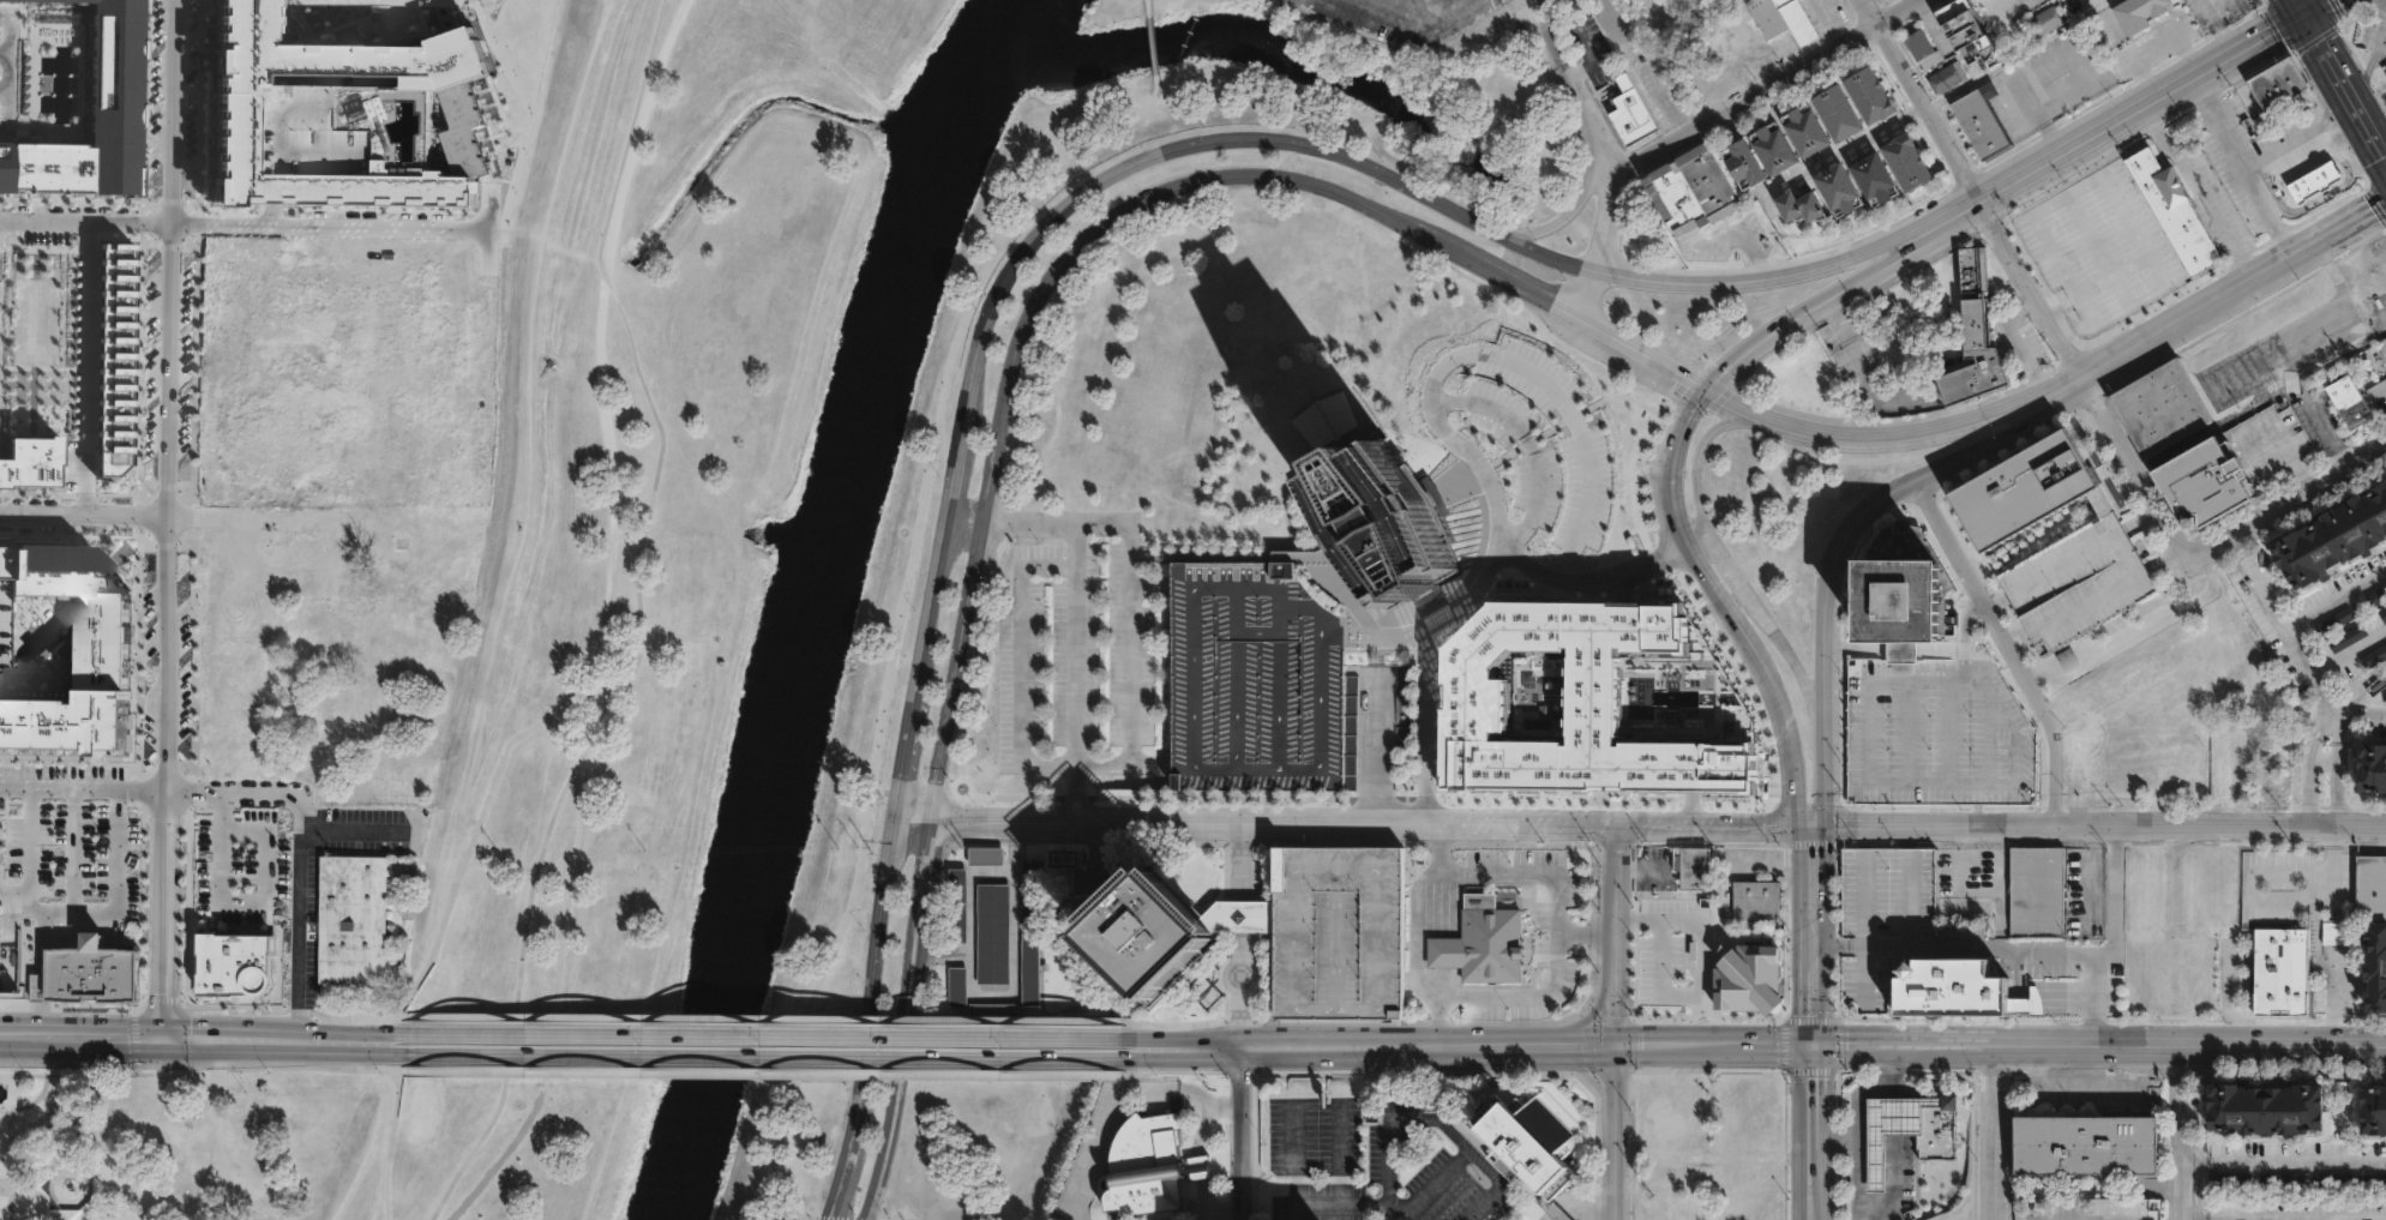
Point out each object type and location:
road: (1374, 1)
road: (2083, 1)
road: (1535, 5)
road: (2297, 7)
road: (2314, 7)
road: (1149, 10)
road: (1867, 11)
building: (2140, 12)
traffic signals: (2302, 14)
parking lot: (1398, 17)
road: (1412, 17)
road: (2296, 17)
building: (1785, 19)
building: (2047, 22)
road: (2222, 25)
building: (1969, 29)
road: (655, 42)
road: (1153, 46)
road: (2153, 46)
building: (1924, 48)
road: (1, 49)
road: (1588, 54)
road: (2, 70)
building: (1949, 77)
building: (2276, 82)
road: (1761, 84)
road: (2343, 89)
building: (1869, 94)
building: (1837, 112)
building: (1634, 113)
road: (2330, 113)
building: (91, 115)
building: (347, 118)
road: (2039, 120)
road: (2106, 124)
building: (1981, 125)
building: (1805, 130)
road: (2342, 132)
road: (1242, 143)
building: (1773, 149)
road: (1604, 150)
road: (2280, 152)
building: (1907, 161)
building: (1743, 163)
road: (2238, 166)
building: (1873, 176)
building: (2313, 181)
building: (1835, 187)
building: (1693, 188)
road: (2196, 188)
road: (2112, 192)
road: (1978, 197)
road: (2318, 198)
road: (2374, 203)
building: (1798, 205)
traffic signals: (2372, 208)
building: (2105, 214)
building: (2175, 214)
road: (1561, 215)
road: (86, 221)
road: (326, 230)
road: (2315, 239)
road: (2362, 240)
building: (2068, 247)
road: (2360, 266)
road: (1526, 290)
road: (2059, 294)
road: (1814, 306)
road: (2048, 308)
road: (2343, 308)
road: (1028, 311)
road: (2382, 317)
road: (2152, 332)
building: (1978, 336)
road: (2013, 341)
building: (2380, 349)
road: (1641, 351)
road: (1497, 353)
road: (2262, 359)
road: (85, 371)
building: (2379, 391)
building: (2346, 401)
road: (2260, 402)
building: (2159, 407)
road: (1678, 426)
road: (1882, 434)
road: (1528, 449)
road: (2290, 459)
park: (770, 461)
building: (2202, 483)
road: (1901, 488)
building: (2027, 489)
road: (1670, 511)
building: (1380, 516)
road: (2140, 517)
road: (169, 519)
road: (84, 521)
road: (958, 521)
road: (1029, 521)
building: (2338, 539)
road: (2194, 554)
road: (2164, 557)
road: (1727, 564)
road: (1604, 579)
road: (1705, 581)
building: (2077, 582)
parking garage: (2077, 582)
river: (825, 600)
building: (1897, 600)
road: (2334, 600)
road: (1997, 601)
road: (902, 603)
building: (2384, 614)
building: (0, 615)
parking garage: (0, 615)
road: (642, 618)
road: (1964, 619)
road: (2162, 619)
building: (2334, 620)
helipad: (1900, 626)
road: (2017, 636)
road: (2289, 637)
building: (2348, 637)
road: (1082, 642)
road: (1131, 644)
road: (2008, 647)
road: (1856, 649)
road: (1899, 650)
road: (2348, 650)
building: (101, 656)
building: (2373, 656)
parking lot: (1074, 657)
road: (2067, 659)
building: (2067, 660)
road: (1020, 663)
road: (2043, 672)
road: (1429, 673)
building: (1254, 677)
parking garage: (1254, 677)
building: (1595, 701)
building: (1402, 708)
road: (1777, 715)
road: (2357, 716)
building: (1936, 728)
parking garage: (1936, 728)
road: (1371, 731)
building: (1404, 737)
road: (1826, 738)
road: (2315, 738)
road: (2336, 740)
road: (902, 758)
road: (582, 761)
road: (1152, 765)
road: (2325, 765)
building: (2374, 767)
road: (1947, 780)
road: (83, 788)
road: (233, 791)
road: (883, 791)
road: (1082, 792)
road: (2310, 795)
road: (2338, 797)
traffic signals: (894, 819)
traffic signals: (931, 819)
road: (1354, 822)
traffic signals: (1816, 827)
road: (2100, 827)
road: (351, 830)
road: (473, 835)
road: (1338, 835)
road: (1863, 836)
road: (1904, 837)
park: (1, 839)
road: (26, 840)
parking lot: (68, 843)
road: (72, 849)
road: (1009, 853)
building: (985, 855)
building: (1060, 858)
road: (1240, 861)
building: (1696, 869)
parking lot: (240, 870)
road: (1521, 872)
road: (1997, 875)
road: (2092, 875)
road: (1960, 877)
building: (2369, 888)
building: (2036, 890)
road: (968, 893)
road: (2268, 899)
building: (1759, 900)
road: (247, 902)
building: (956, 903)
road: (298, 911)
road: (108, 912)
road: (1242, 918)
building: (350, 920)
building: (1882, 920)
parking garage: (1882, 920)
building: (2338, 932)
building: (991, 933)
building: (1029, 933)
building: (1338, 933)
parking garage: (1338, 933)
road: (1817, 934)
building: (1158, 937)
building: (1480, 940)
road: (1699, 943)
road: (2114, 945)
road: (940, 949)
road: (2031, 954)
building: (235, 964)
building: (2374, 967)
building: (2279, 970)
building: (88, 974)
building: (1691, 974)
road: (1012, 975)
road: (1658, 979)
building: (955, 986)
building: (1949, 988)
road: (1242, 991)
road: (1452, 991)
road: (2332, 1000)
building: (2026, 1004)
road: (1595, 1008)
building: (991, 1010)
road: (354, 1018)
road: (770, 1018)
road: (866, 1021)
road: (903, 1021)
road: (1617, 1021)
road: (1188, 1024)
road: (282, 1029)
road: (80, 1035)
road: (770, 1035)
traffic signals: (162, 1040)
road: (1188, 1042)
road: (1718, 1044)
traffic signals: (1819, 1044)
road: (1905, 1044)
road: (1429, 1045)
traffic signals: (1618, 1045)
road: (2188, 1045)
road: (283, 1053)
road: (1188, 1053)
road: (770, 1057)
road: (308, 1060)
road: (374, 1069)
road: (172, 1070)
road: (1892, 1070)
road: (1185, 1071)
road: (770, 1074)
road: (2081, 1089)
road: (31, 1100)
road: (1122, 1106)
building: (2265, 1110)
building: (2370, 1111)
road: (1893, 1116)
road: (1432, 1118)
building: (1911, 1130)
road: (1817, 1131)
road: (1993, 1131)
road: (1239, 1132)
road: (2183, 1132)
road: (1852, 1138)
road: (1835, 1141)
building: (1525, 1142)
road: (217, 1144)
road: (390, 1144)
building: (2086, 1144)
road: (10, 1146)
park: (314, 1146)
road: (28, 1159)
road: (2196, 1165)
road: (2297, 1165)
building: (1198, 1166)
road: (55, 1170)
building: (1148, 1171)
road: (1893, 1179)
building: (2230, 1179)
building: (2282, 1179)
building: (2332, 1179)
road: (1428, 1185)
road: (1336, 1204)
road: (1588, 1204)
road: (1221, 1212)
road: (1558, 1214)
road: (804, 1216)
road: (833, 1218)
road: (2195, 1218)
road: (2297, 1218)
road: (1552, 1219)

